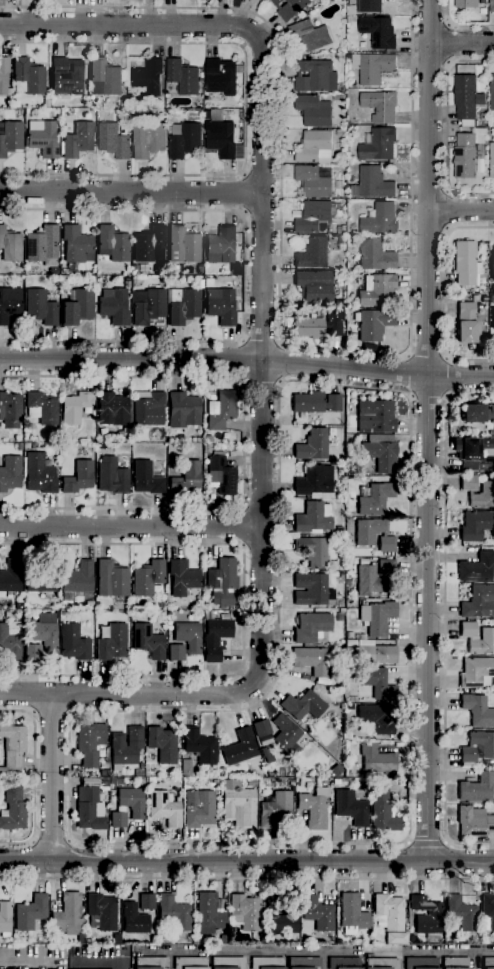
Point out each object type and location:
building: (466, 3)
building: (368, 6)
building: (490, 6)
building: (289, 8)
building: (350, 10)
building: (351, 18)
road: (460, 24)
road: (128, 25)
building: (378, 31)
building: (310, 35)
road: (461, 43)
road: (447, 44)
building: (371, 66)
building: (201, 74)
building: (4, 76)
building: (149, 76)
building: (183, 76)
building: (221, 76)
building: (315, 76)
building: (27, 77)
building: (66, 77)
building: (105, 78)
building: (491, 90)
building: (337, 97)
building: (466, 98)
building: (123, 103)
building: (380, 105)
road: (244, 108)
building: (313, 110)
building: (163, 112)
building: (170, 116)
road: (445, 126)
building: (340, 132)
building: (10, 137)
building: (42, 138)
building: (220, 138)
building: (148, 139)
building: (184, 139)
building: (113, 140)
building: (78, 141)
building: (378, 145)
building: (313, 146)
building: (468, 152)
building: (492, 160)
building: (312, 181)
building: (372, 183)
road: (130, 191)
road: (241, 193)
road: (450, 210)
road: (461, 210)
building: (313, 216)
building: (379, 218)
building: (341, 239)
building: (222, 243)
building: (113, 244)
building: (10, 245)
building: (76, 245)
building: (149, 245)
building: (183, 245)
building: (42, 246)
building: (313, 253)
building: (374, 255)
building: (492, 261)
building: (466, 264)
building: (70, 267)
building: (199, 268)
building: (138, 269)
building: (173, 269)
road: (244, 277)
building: (163, 280)
building: (127, 282)
building: (483, 282)
building: (209, 283)
building: (200, 284)
building: (314, 286)
road: (278, 288)
building: (492, 288)
building: (484, 289)
building: (377, 291)
road: (446, 294)
building: (351, 296)
building: (485, 299)
building: (492, 299)
building: (9, 304)
building: (113, 306)
building: (147, 306)
building: (183, 306)
building: (221, 306)
building: (41, 308)
building: (78, 308)
building: (492, 317)
building: (373, 324)
building: (467, 324)
building: (316, 327)
road: (261, 342)
road: (427, 358)
road: (262, 359)
road: (243, 360)
road: (247, 360)
road: (280, 363)
road: (409, 375)
road: (445, 377)
road: (262, 380)
road: (429, 396)
road: (410, 399)
building: (315, 403)
building: (75, 407)
building: (148, 408)
building: (41, 409)
building: (113, 409)
building: (10, 410)
building: (221, 410)
building: (183, 411)
building: (477, 413)
building: (372, 417)
road: (428, 431)
building: (120, 434)
building: (193, 439)
building: (198, 439)
road: (244, 441)
building: (26, 445)
building: (312, 445)
building: (19, 447)
building: (33, 447)
building: (231, 447)
building: (206, 448)
building: (380, 452)
building: (474, 454)
building: (10, 473)
building: (39, 474)
building: (221, 474)
building: (78, 477)
building: (112, 477)
building: (186, 478)
building: (146, 479)
building: (374, 479)
building: (314, 482)
building: (468, 483)
building: (482, 496)
building: (375, 499)
building: (313, 518)
building: (476, 525)
road: (130, 526)
road: (241, 527)
building: (339, 530)
building: (369, 531)
building: (350, 544)
building: (387, 545)
building: (312, 551)
building: (477, 568)
building: (387, 569)
building: (10, 577)
building: (147, 578)
building: (182, 578)
building: (111, 579)
building: (77, 581)
building: (369, 581)
building: (40, 582)
building: (222, 582)
building: (347, 582)
building: (311, 589)
building: (479, 602)
road: (244, 609)
building: (341, 616)
building: (224, 617)
building: (377, 617)
road: (445, 619)
building: (311, 627)
building: (468, 630)
building: (349, 635)
building: (187, 636)
building: (42, 637)
building: (215, 638)
building: (11, 641)
building: (148, 642)
building: (73, 643)
building: (112, 643)
building: (482, 643)
building: (349, 645)
building: (176, 653)
building: (373, 653)
building: (311, 660)
building: (477, 673)
building: (322, 681)
building: (377, 683)
building: (338, 684)
road: (127, 692)
building: (302, 706)
building: (477, 710)
road: (51, 714)
building: (377, 718)
building: (262, 728)
building: (285, 732)
building: (90, 744)
building: (162, 744)
building: (200, 746)
building: (477, 747)
building: (12, 748)
building: (125, 748)
building: (240, 748)
building: (376, 760)
building: (488, 763)
building: (103, 764)
building: (141, 765)
building: (186, 768)
building: (335, 770)
building: (221, 771)
building: (138, 772)
road: (53, 776)
road: (34, 777)
building: (151, 780)
building: (341, 782)
building: (477, 789)
building: (132, 802)
building: (238, 806)
building: (351, 807)
building: (314, 808)
building: (164, 809)
building: (275, 809)
building: (382, 809)
building: (13, 810)
building: (89, 810)
building: (200, 810)
building: (118, 819)
building: (474, 822)
road: (51, 840)
road: (427, 841)
road: (246, 861)
road: (247, 879)
building: (147, 902)
building: (102, 911)
building: (31, 912)
building: (388, 912)
building: (488, 912)
building: (68, 913)
building: (175, 913)
building: (245, 913)
building: (318, 913)
building: (461, 913)
building: (208, 914)
building: (352, 914)
building: (285, 917)
building: (426, 917)
building: (5, 919)
building: (134, 919)
building: (80, 938)
building: (18, 939)
building: (127, 939)
building: (396, 940)
road: (323, 951)
building: (150, 963)
building: (190, 963)
building: (228, 963)
building: (267, 963)
building: (304, 963)
building: (343, 963)
building: (381, 963)
building: (421, 963)
building: (454, 963)
building: (488, 963)

